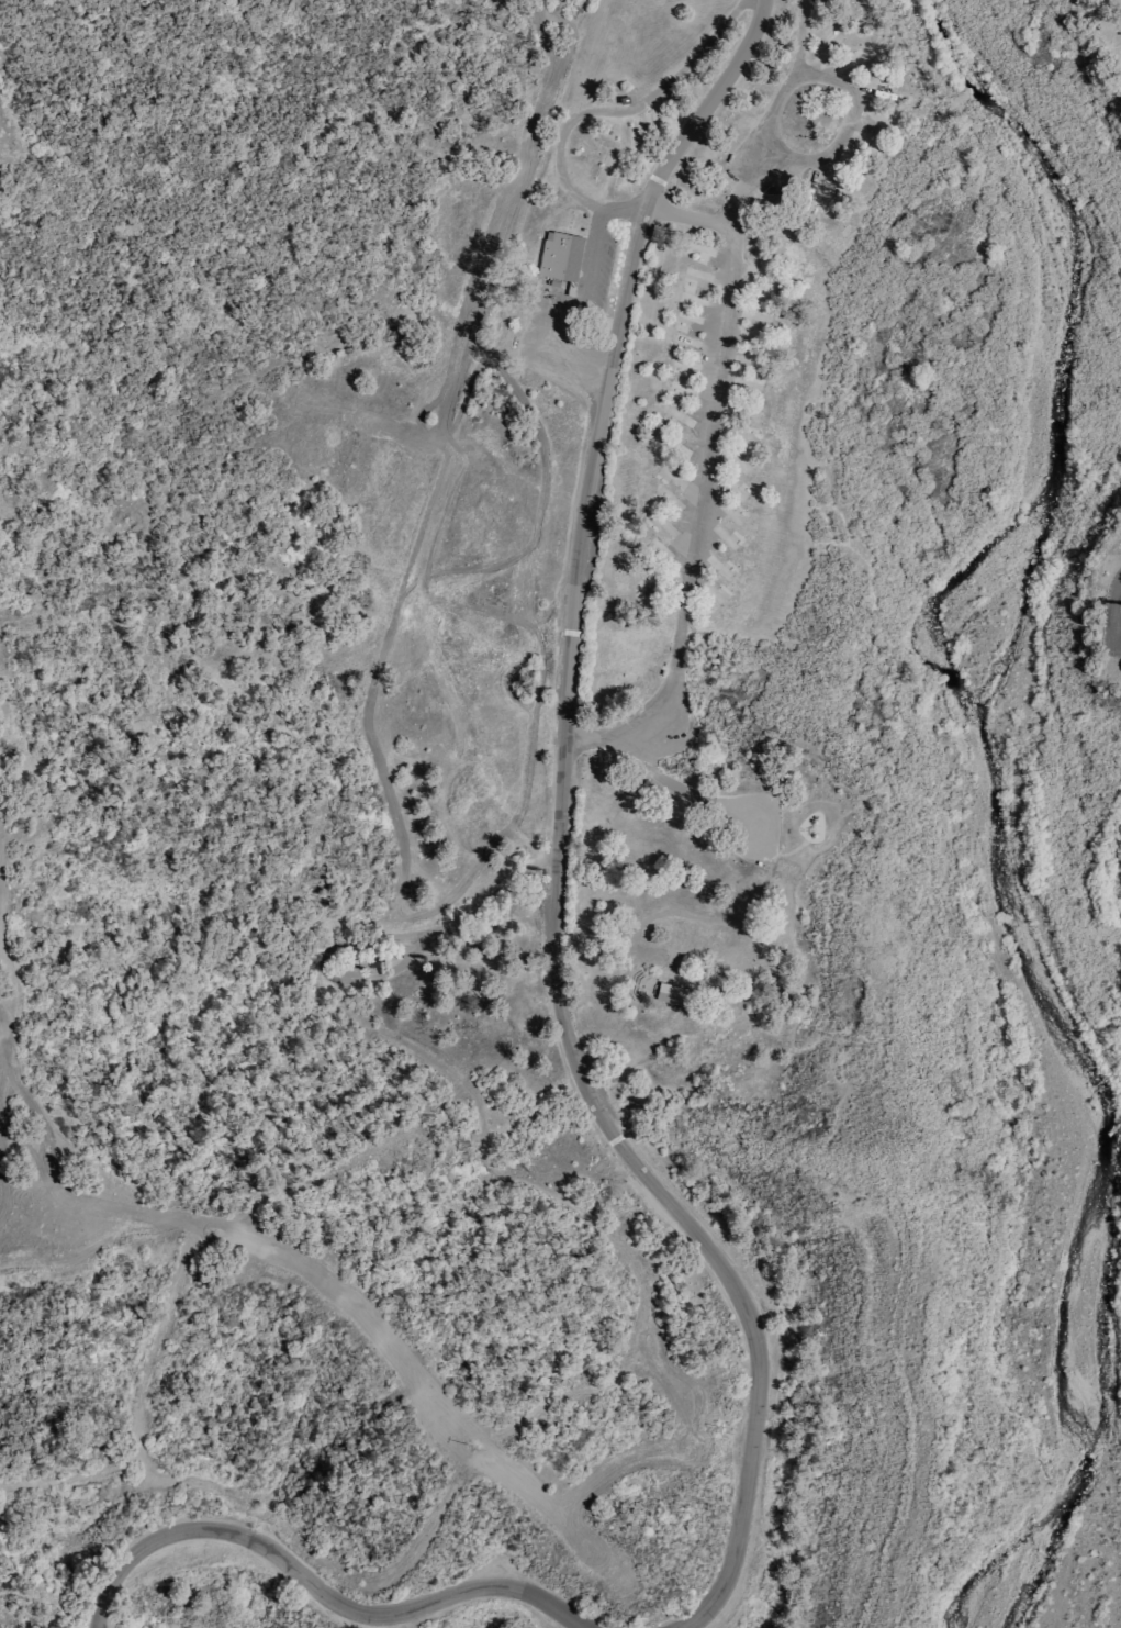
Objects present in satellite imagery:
road: (851, 105)
road: (621, 111)
road: (753, 142)
road: (684, 218)
building: (559, 255)
parking lot: (601, 272)
road: (582, 280)
road: (707, 436)
building: (737, 492)
building: (725, 570)
road: (1113, 603)
road: (638, 721)
park: (560, 814)
road: (560, 840)
road: (769, 848)
road: (787, 852)
building: (668, 993)
road: (65, 1146)
road: (379, 1320)
road: (424, 1531)
road: (322, 1581)

